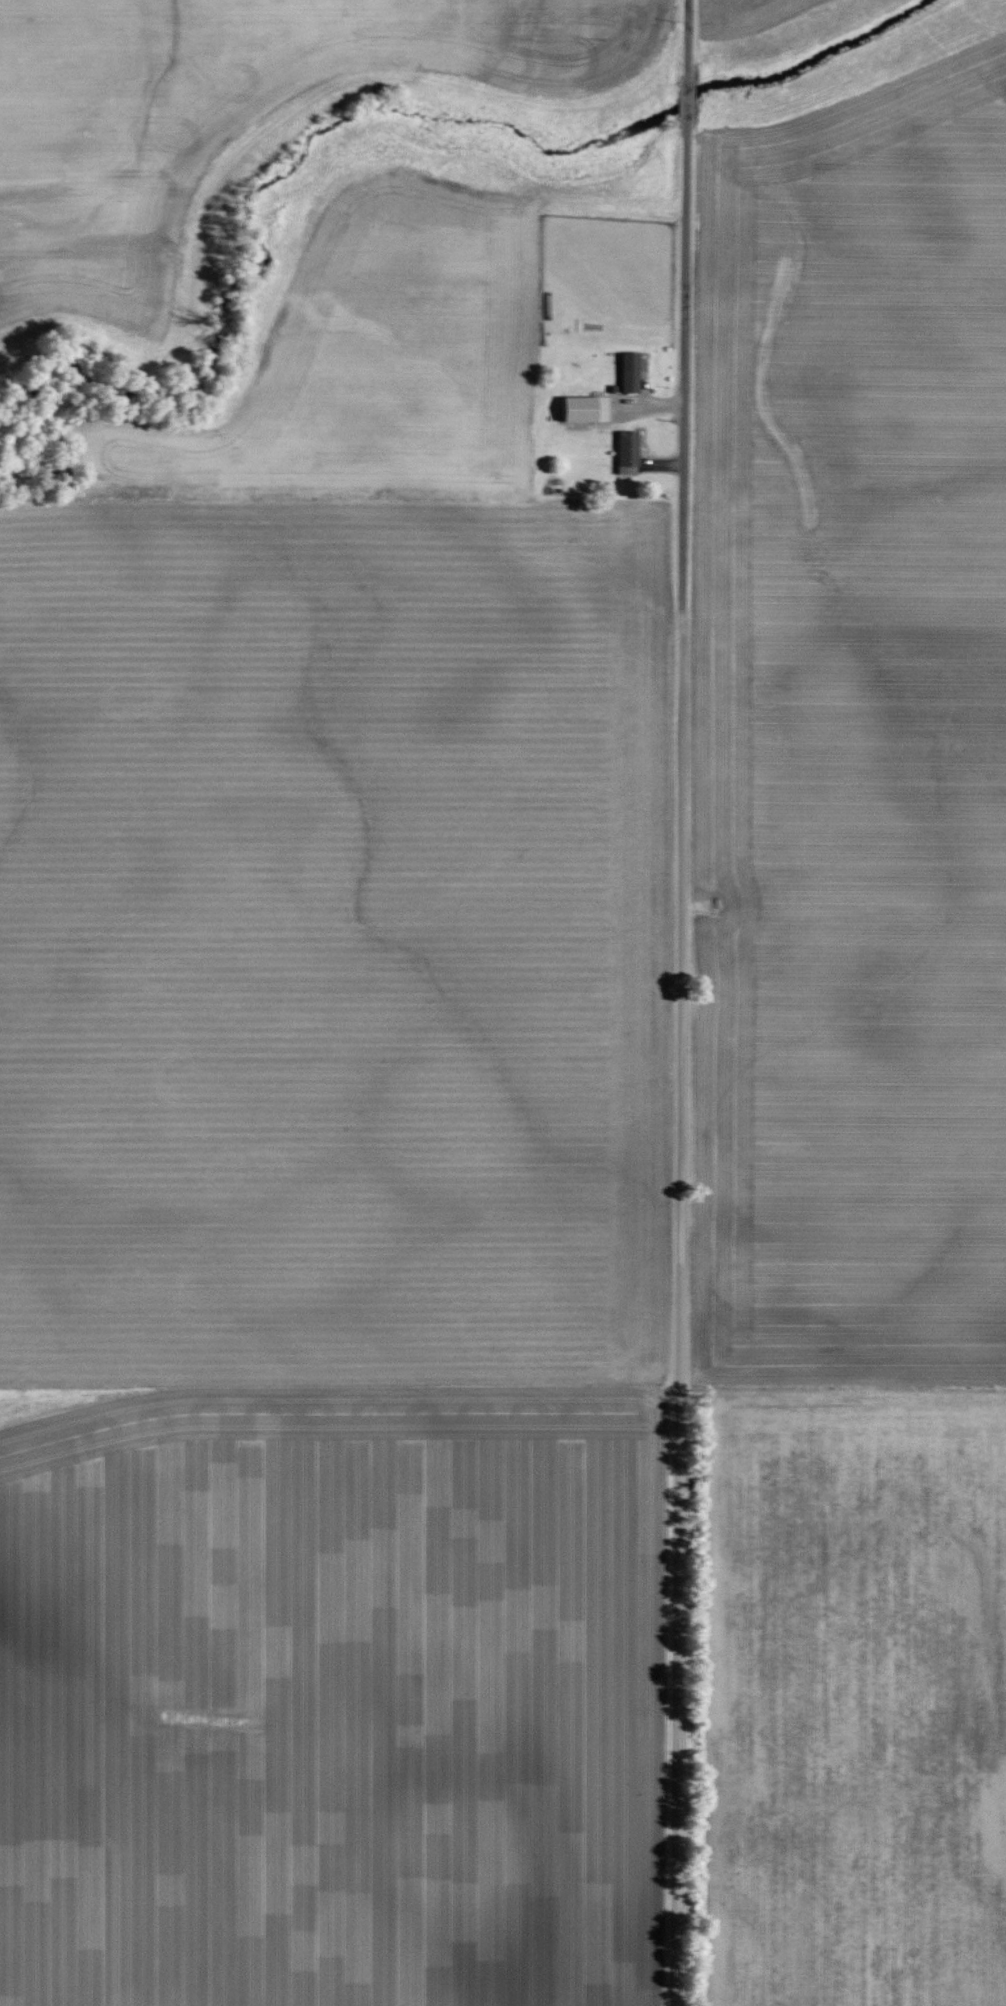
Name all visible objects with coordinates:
building: (628, 372)
building: (578, 409)
building: (603, 409)
building: (626, 452)
road: (679, 1003)

